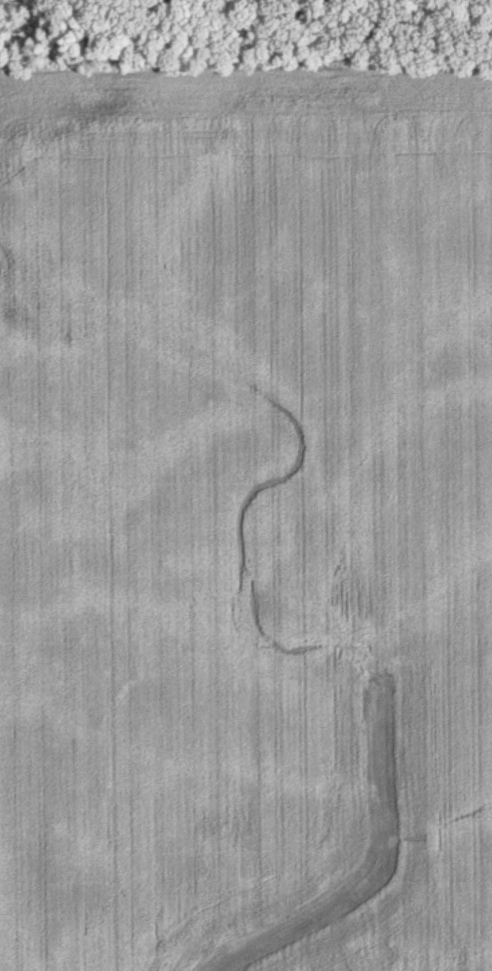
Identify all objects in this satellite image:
crop: (246, 518)

